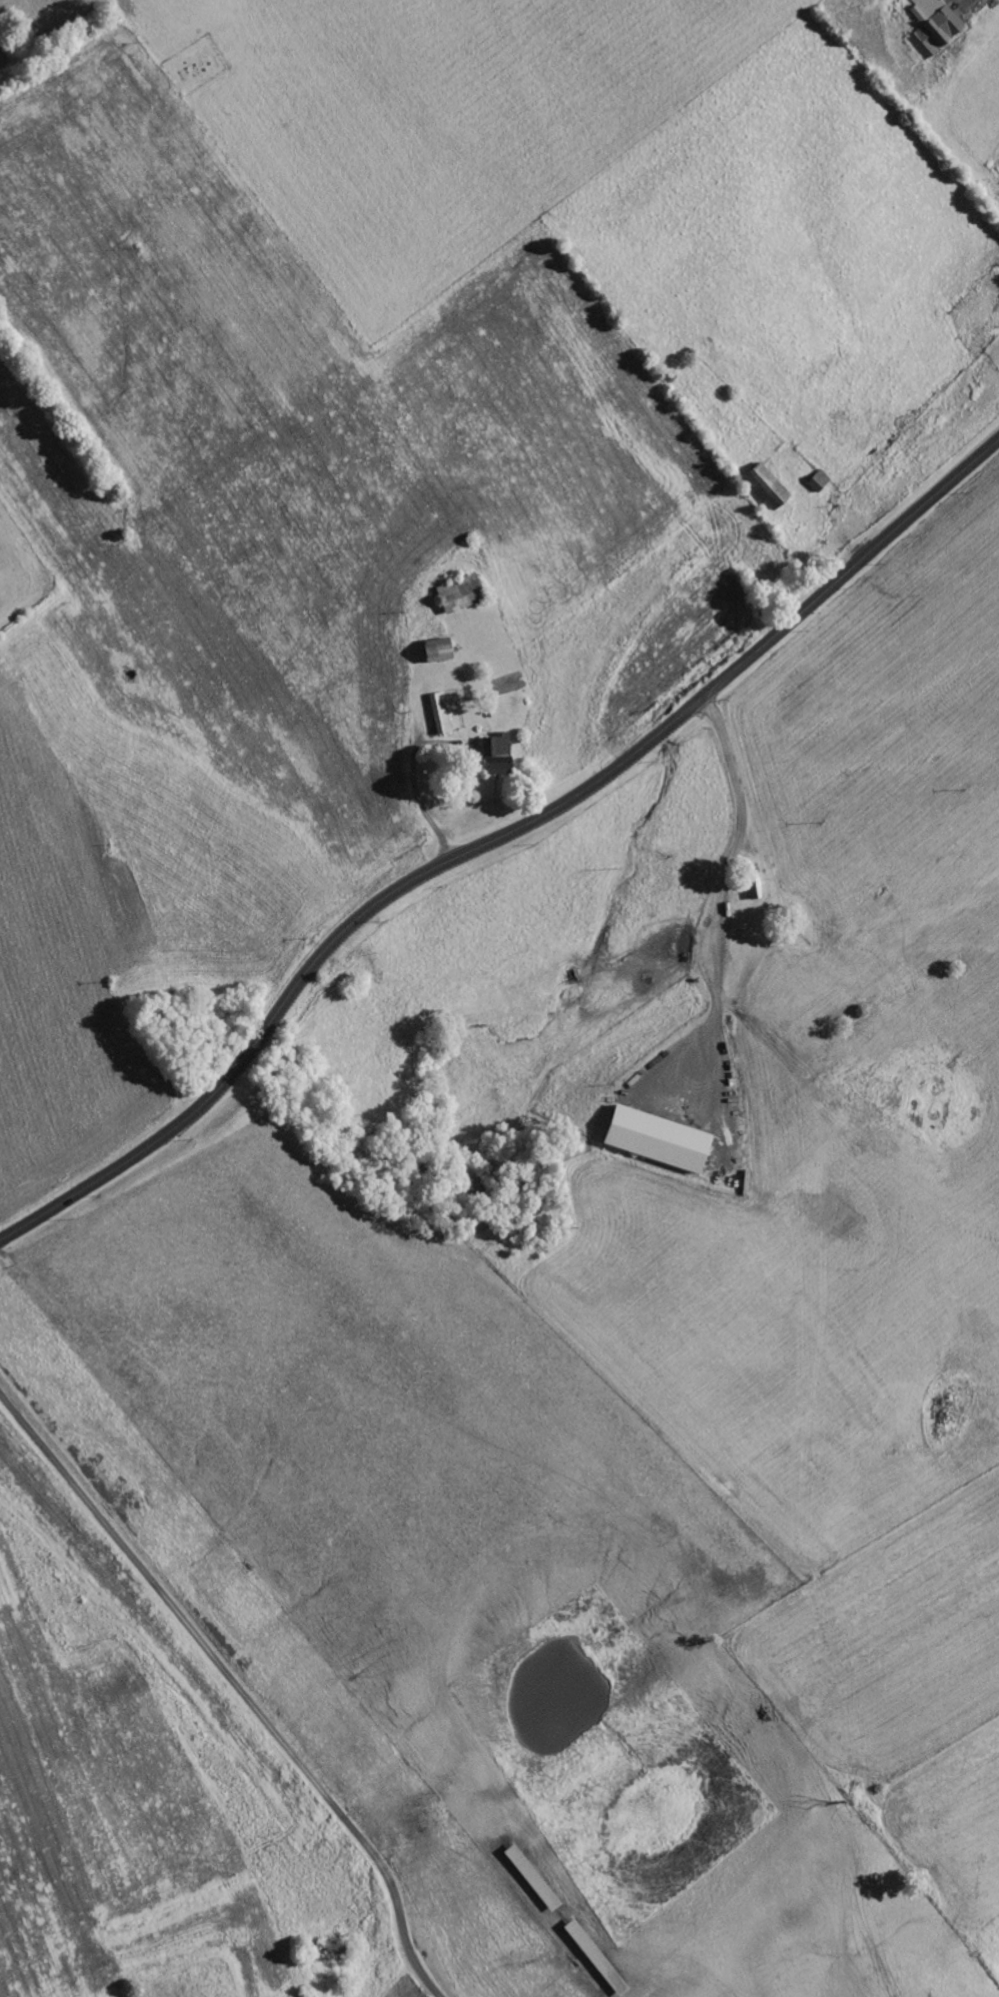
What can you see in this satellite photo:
building: (936, 26)
building: (768, 487)
building: (464, 593)
building: (443, 713)
building: (499, 754)
road: (495, 841)
building: (660, 1138)
road: (238, 1685)

